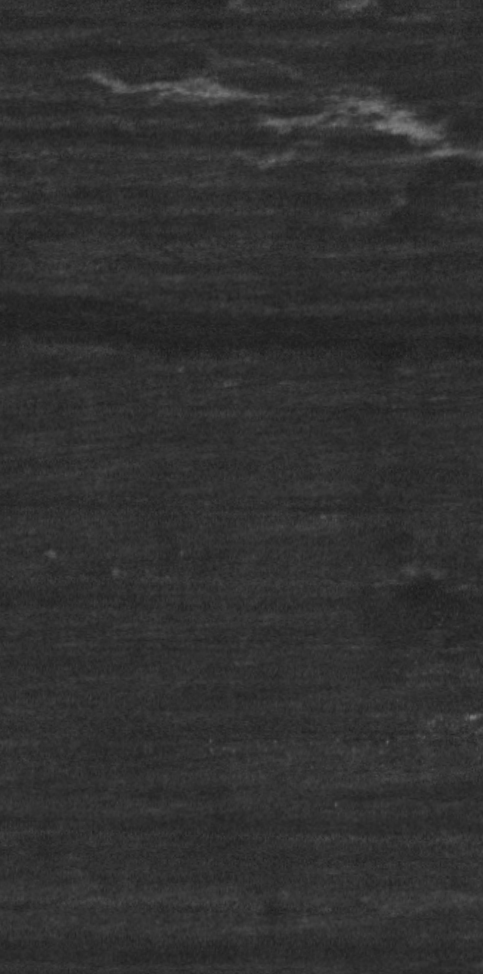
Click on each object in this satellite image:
crop: (241, 487)

